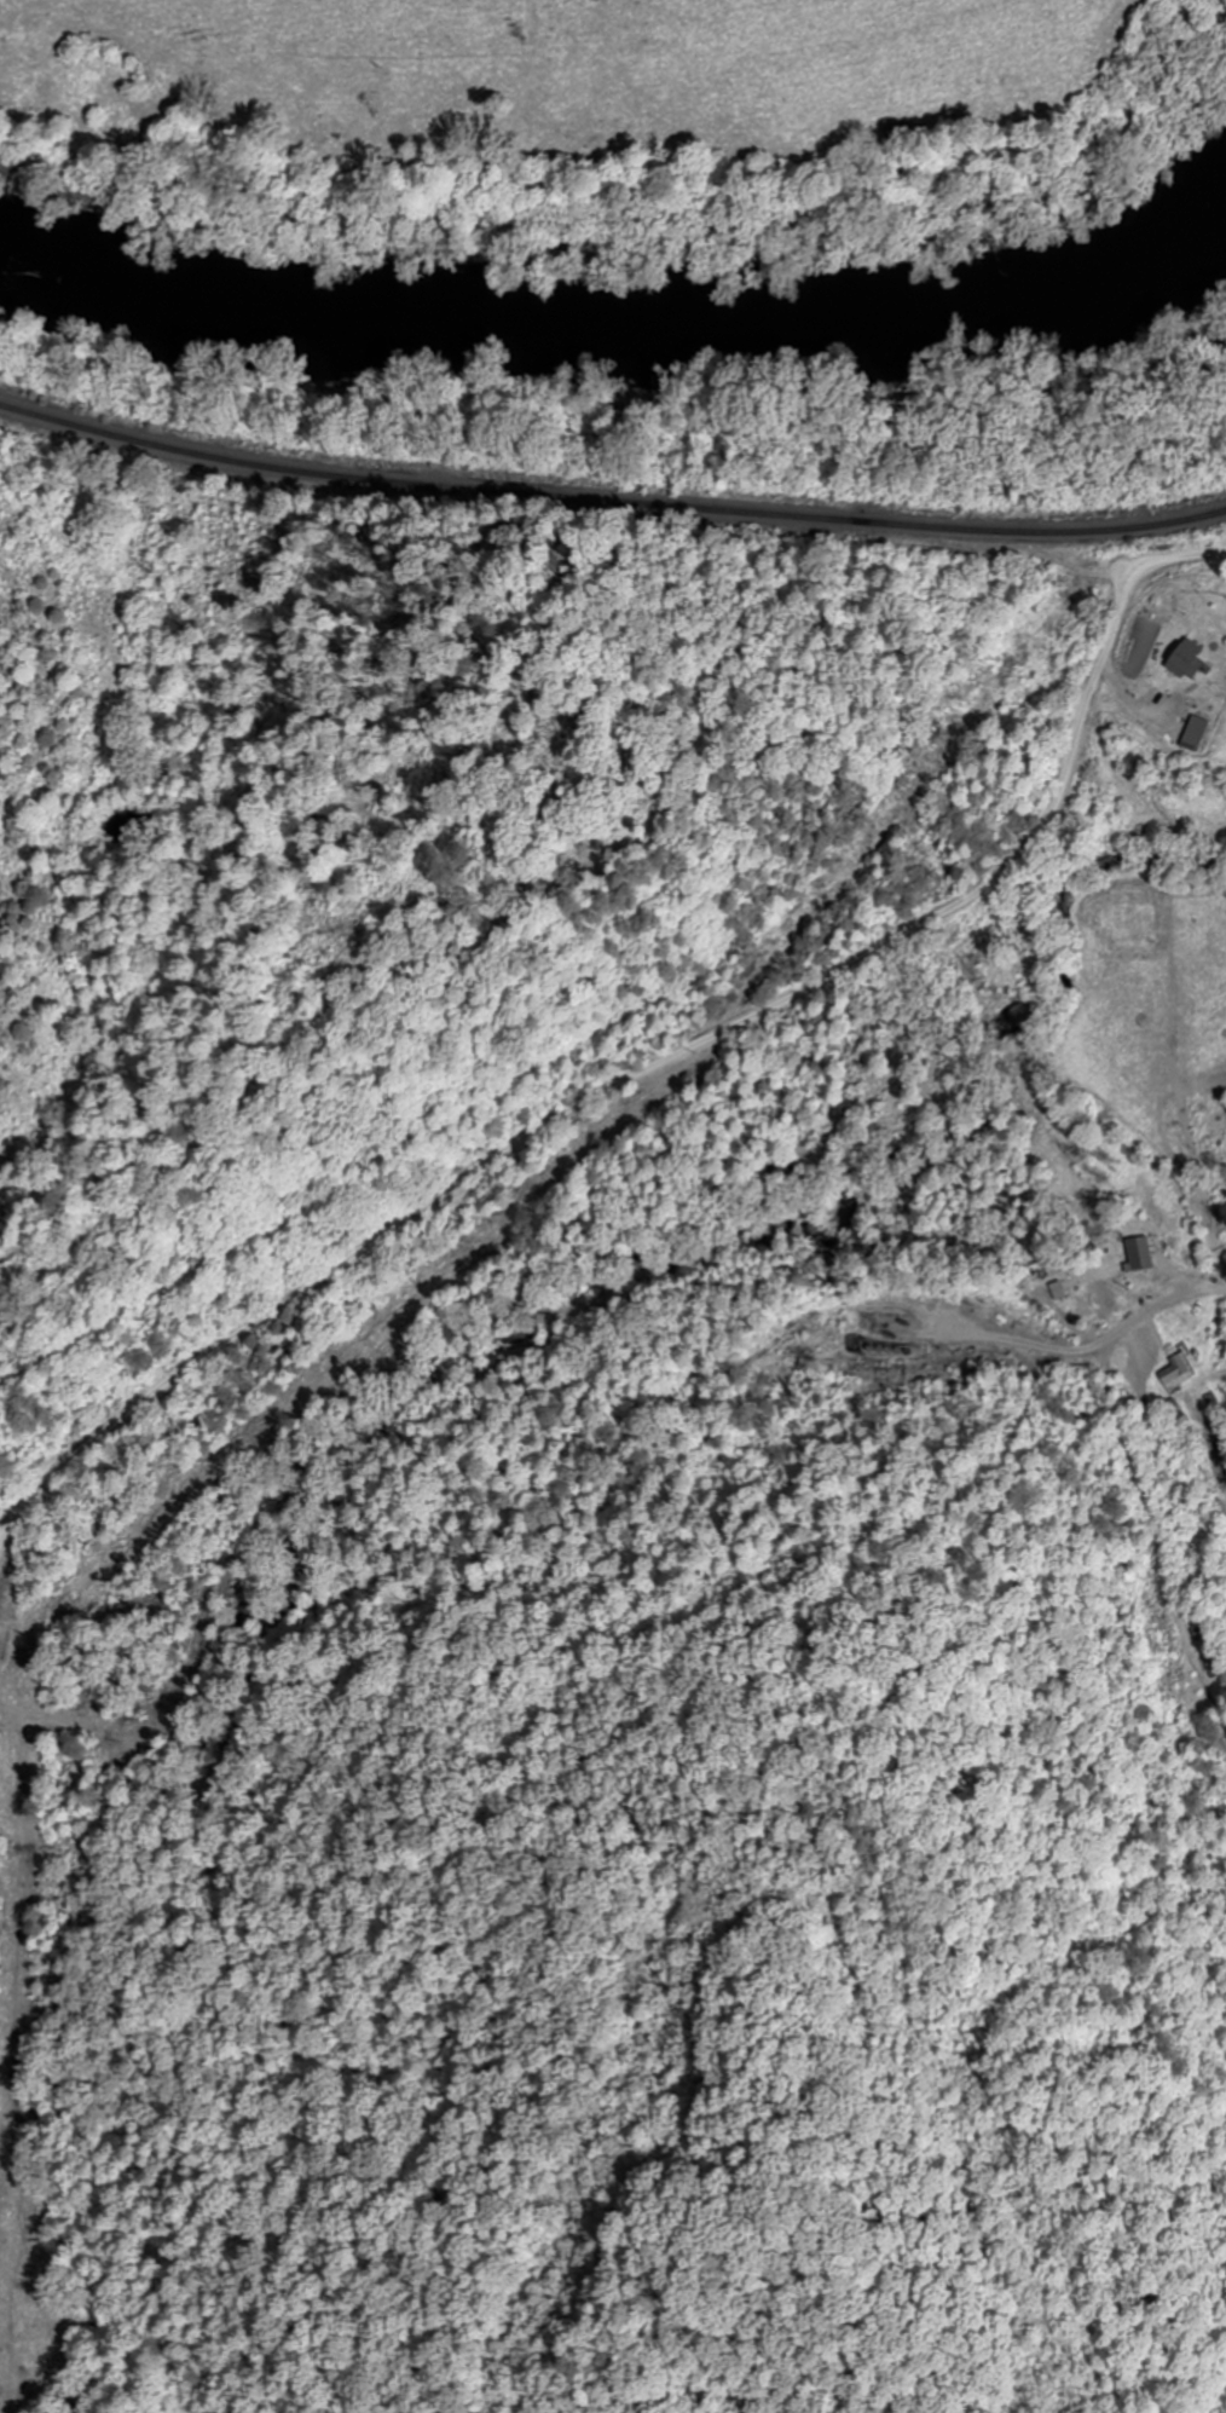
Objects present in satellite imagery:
river: (632, 341)
railway: (609, 498)
building: (1180, 659)
building: (1192, 733)
road: (654, 1064)
building: (1130, 1251)
building: (1174, 1373)

